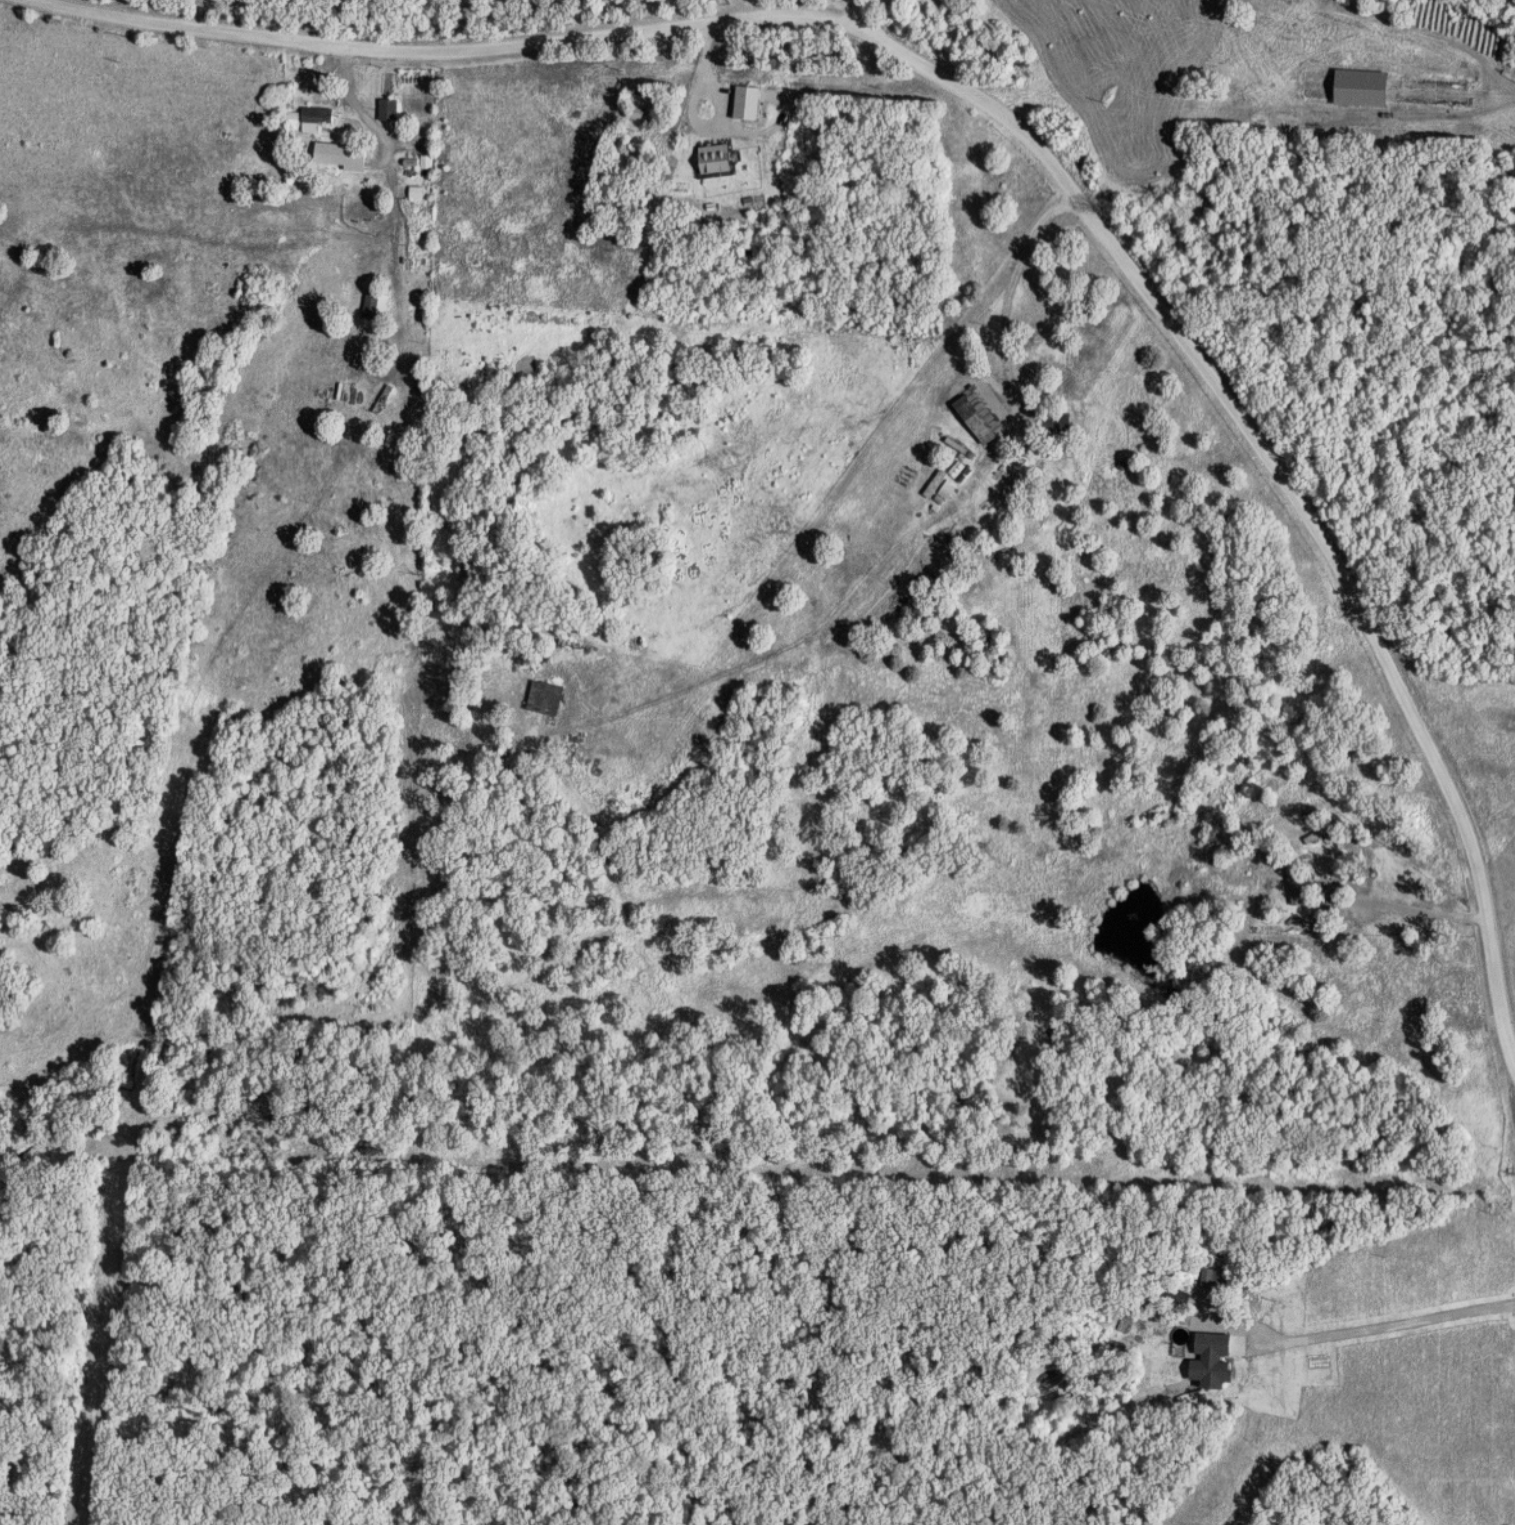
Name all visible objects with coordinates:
road: (855, 13)
building: (1365, 88)
road: (1457, 94)
building: (750, 103)
building: (391, 110)
building: (321, 117)
road: (1039, 147)
building: (335, 148)
building: (719, 159)
building: (359, 163)
building: (418, 193)
building: (373, 305)
building: (981, 413)
building: (1059, 421)
road: (739, 476)
building: (1084, 478)
road: (844, 522)
road: (326, 543)
building: (995, 674)
building: (551, 698)
building: (1317, 836)
building: (1297, 882)
building: (1214, 1277)
road: (1360, 1332)
building: (1215, 1358)

